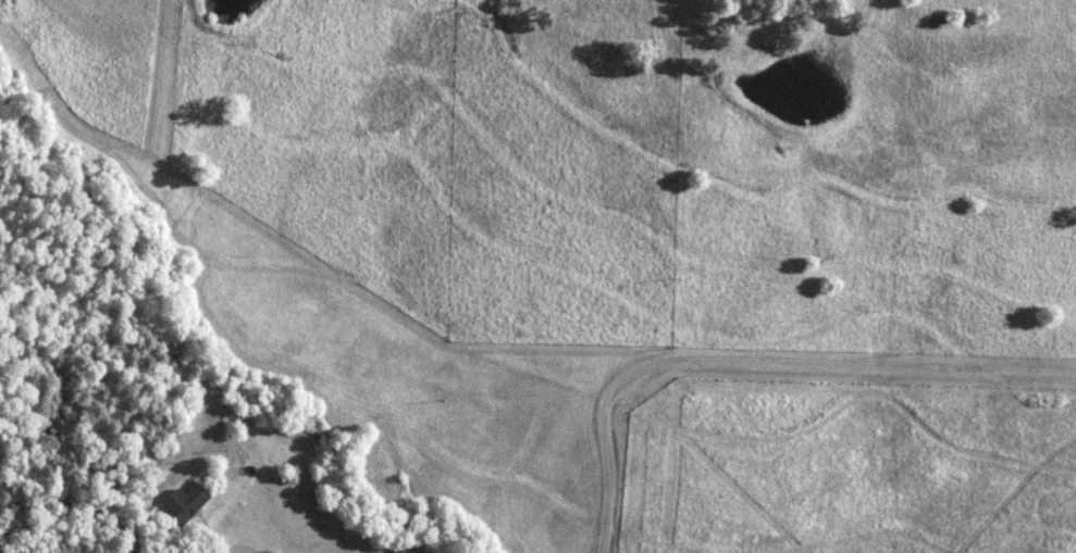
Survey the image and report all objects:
road: (757, 357)
building: (188, 503)
road: (248, 543)
building: (164, 551)

